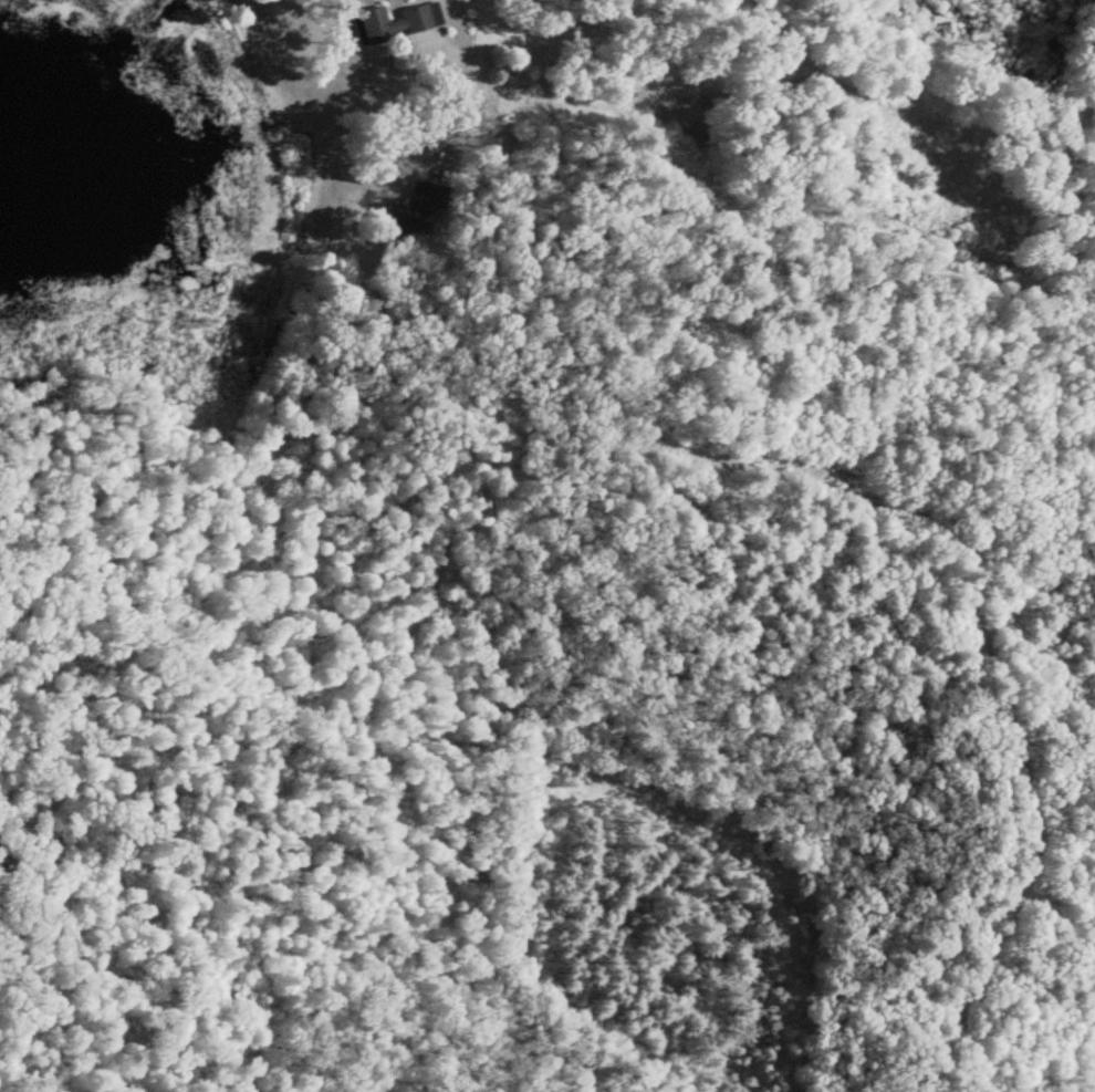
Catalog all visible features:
building: (421, 19)
road: (482, 28)
road: (478, 116)
building: (425, 197)

